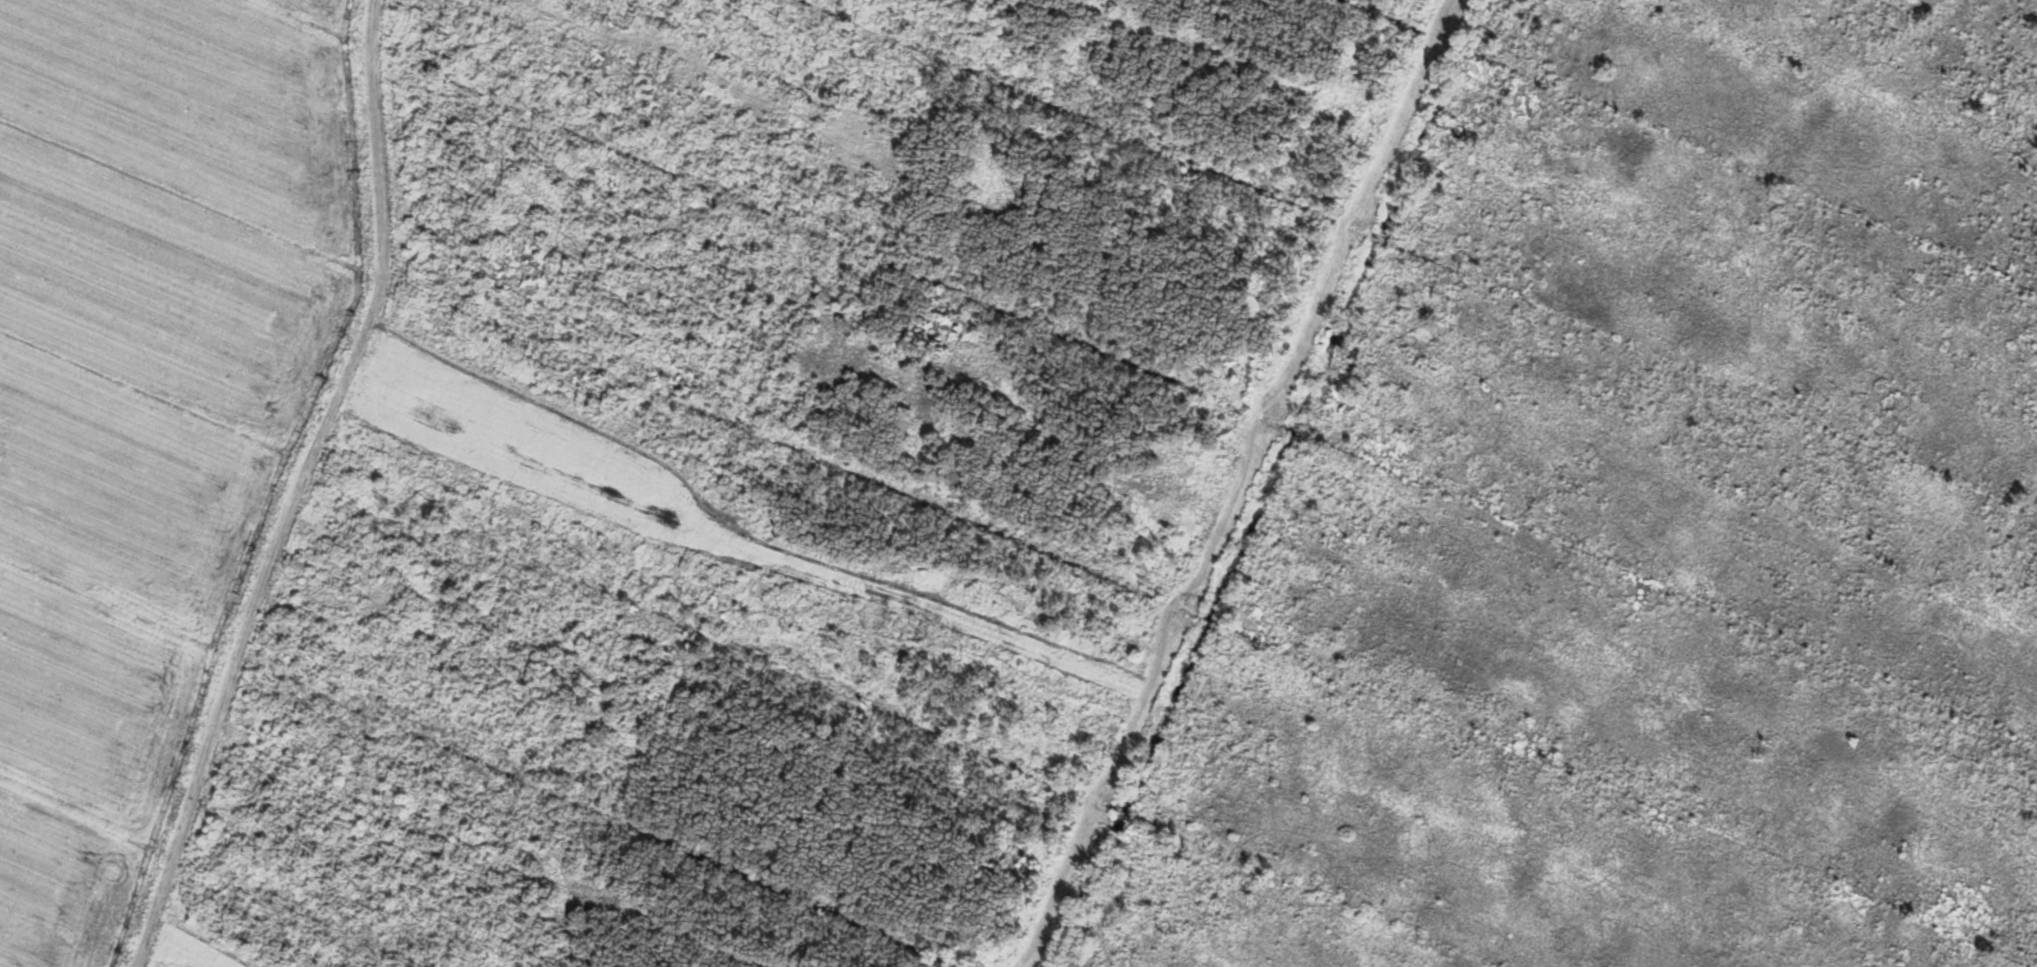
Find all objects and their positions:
crop: (144, 398)
road: (1242, 483)

